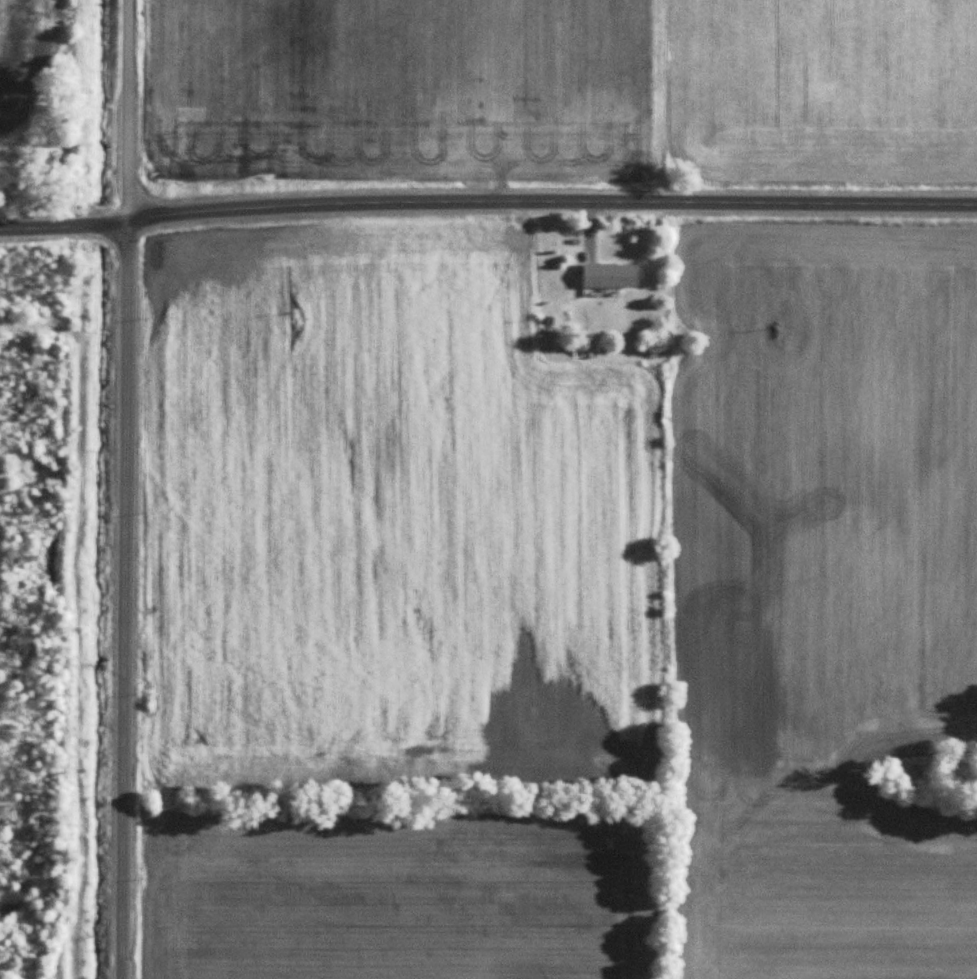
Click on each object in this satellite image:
road: (119, 104)
road: (546, 192)
road: (58, 215)
building: (611, 274)
road: (117, 594)

